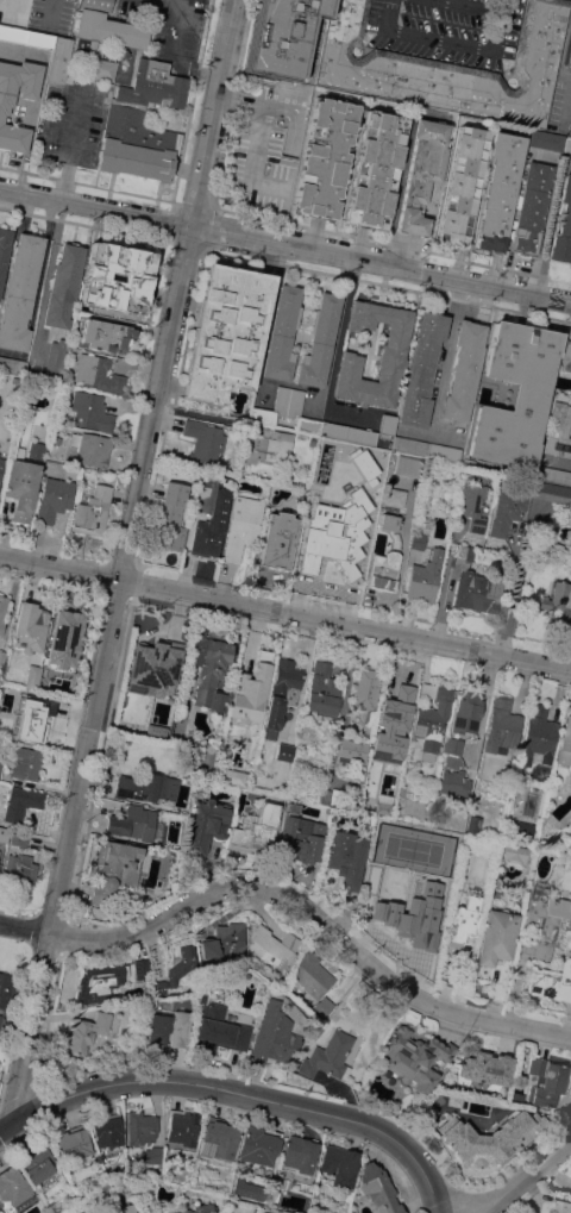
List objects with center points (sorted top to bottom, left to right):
building: (29, 0)
road: (472, 6)
building: (10, 8)
building: (106, 25)
parking lot: (171, 25)
building: (26, 36)
building: (287, 39)
road: (448, 40)
road: (174, 52)
building: (569, 52)
road: (21, 55)
building: (58, 58)
building: (446, 67)
road: (274, 102)
building: (6, 104)
road: (264, 106)
building: (124, 117)
parking lot: (73, 121)
road: (258, 137)
building: (545, 140)
building: (567, 144)
building: (325, 157)
building: (375, 169)
building: (422, 171)
building: (462, 185)
building: (498, 190)
building: (529, 208)
building: (563, 225)
road: (284, 244)
building: (4, 249)
road: (56, 268)
building: (136, 277)
building: (63, 285)
building: (19, 292)
building: (225, 332)
building: (282, 333)
building: (102, 334)
building: (319, 342)
building: (391, 354)
road: (445, 355)
building: (565, 356)
building: (54, 359)
building: (12, 365)
building: (422, 369)
building: (464, 371)
building: (98, 374)
building: (515, 394)
building: (281, 400)
building: (294, 402)
building: (90, 411)
building: (261, 415)
building: (387, 425)
building: (308, 426)
building: (559, 426)
building: (347, 433)
building: (55, 440)
building: (203, 440)
building: (313, 442)
building: (268, 445)
building: (410, 446)
building: (90, 449)
building: (36, 450)
building: (445, 452)
building: (407, 465)
building: (1, 467)
building: (352, 469)
building: (553, 475)
building: (206, 479)
building: (21, 488)
building: (551, 492)
building: (52, 499)
building: (472, 505)
building: (506, 511)
building: (92, 512)
building: (169, 520)
building: (388, 523)
building: (211, 525)
building: (241, 526)
building: (371, 526)
building: (277, 540)
building: (418, 540)
building: (463, 554)
road: (121, 561)
building: (333, 562)
building: (383, 570)
building: (423, 576)
building: (476, 592)
building: (558, 602)
building: (2, 611)
road: (284, 618)
building: (29, 629)
building: (64, 639)
building: (1, 657)
building: (153, 667)
building: (209, 669)
building: (32, 677)
building: (366, 688)
building: (251, 689)
building: (321, 690)
building: (281, 694)
building: (465, 711)
building: (32, 719)
building: (432, 720)
building: (501, 725)
building: (155, 730)
building: (538, 734)
building: (385, 737)
building: (564, 743)
building: (452, 745)
building: (350, 750)
building: (284, 751)
building: (0, 763)
building: (26, 763)
building: (295, 770)
building: (233, 776)
building: (453, 782)
building: (146, 787)
building: (370, 788)
building: (326, 796)
building: (335, 796)
building: (401, 801)
building: (21, 802)
building: (134, 823)
building: (205, 825)
building: (256, 830)
building: (520, 830)
building: (4, 834)
building: (18, 837)
building: (301, 839)
building: (515, 852)
building: (345, 858)
building: (115, 861)
building: (19, 869)
building: (441, 890)
road: (296, 904)
road: (257, 912)
building: (545, 912)
building: (403, 921)
building: (434, 921)
building: (462, 925)
building: (495, 940)
building: (222, 943)
building: (271, 948)
building: (140, 968)
building: (176, 969)
building: (310, 974)
building: (553, 982)
building: (100, 983)
building: (4, 989)
building: (200, 996)
building: (321, 1006)
building: (0, 1013)
building: (0, 1020)
building: (168, 1028)
building: (218, 1030)
building: (87, 1032)
building: (271, 1036)
building: (328, 1057)
building: (415, 1058)
building: (484, 1069)
building: (546, 1081)
building: (516, 1096)
road: (239, 1098)
building: (140, 1127)
building: (181, 1127)
building: (108, 1131)
building: (489, 1136)
building: (220, 1137)
building: (74, 1143)
building: (258, 1145)
building: (152, 1153)
building: (299, 1155)
building: (38, 1163)
building: (339, 1168)
road: (525, 1184)
building: (13, 1186)
building: (246, 1189)
building: (377, 1189)
building: (560, 1206)
building: (199, 1208)
building: (124, 1209)

